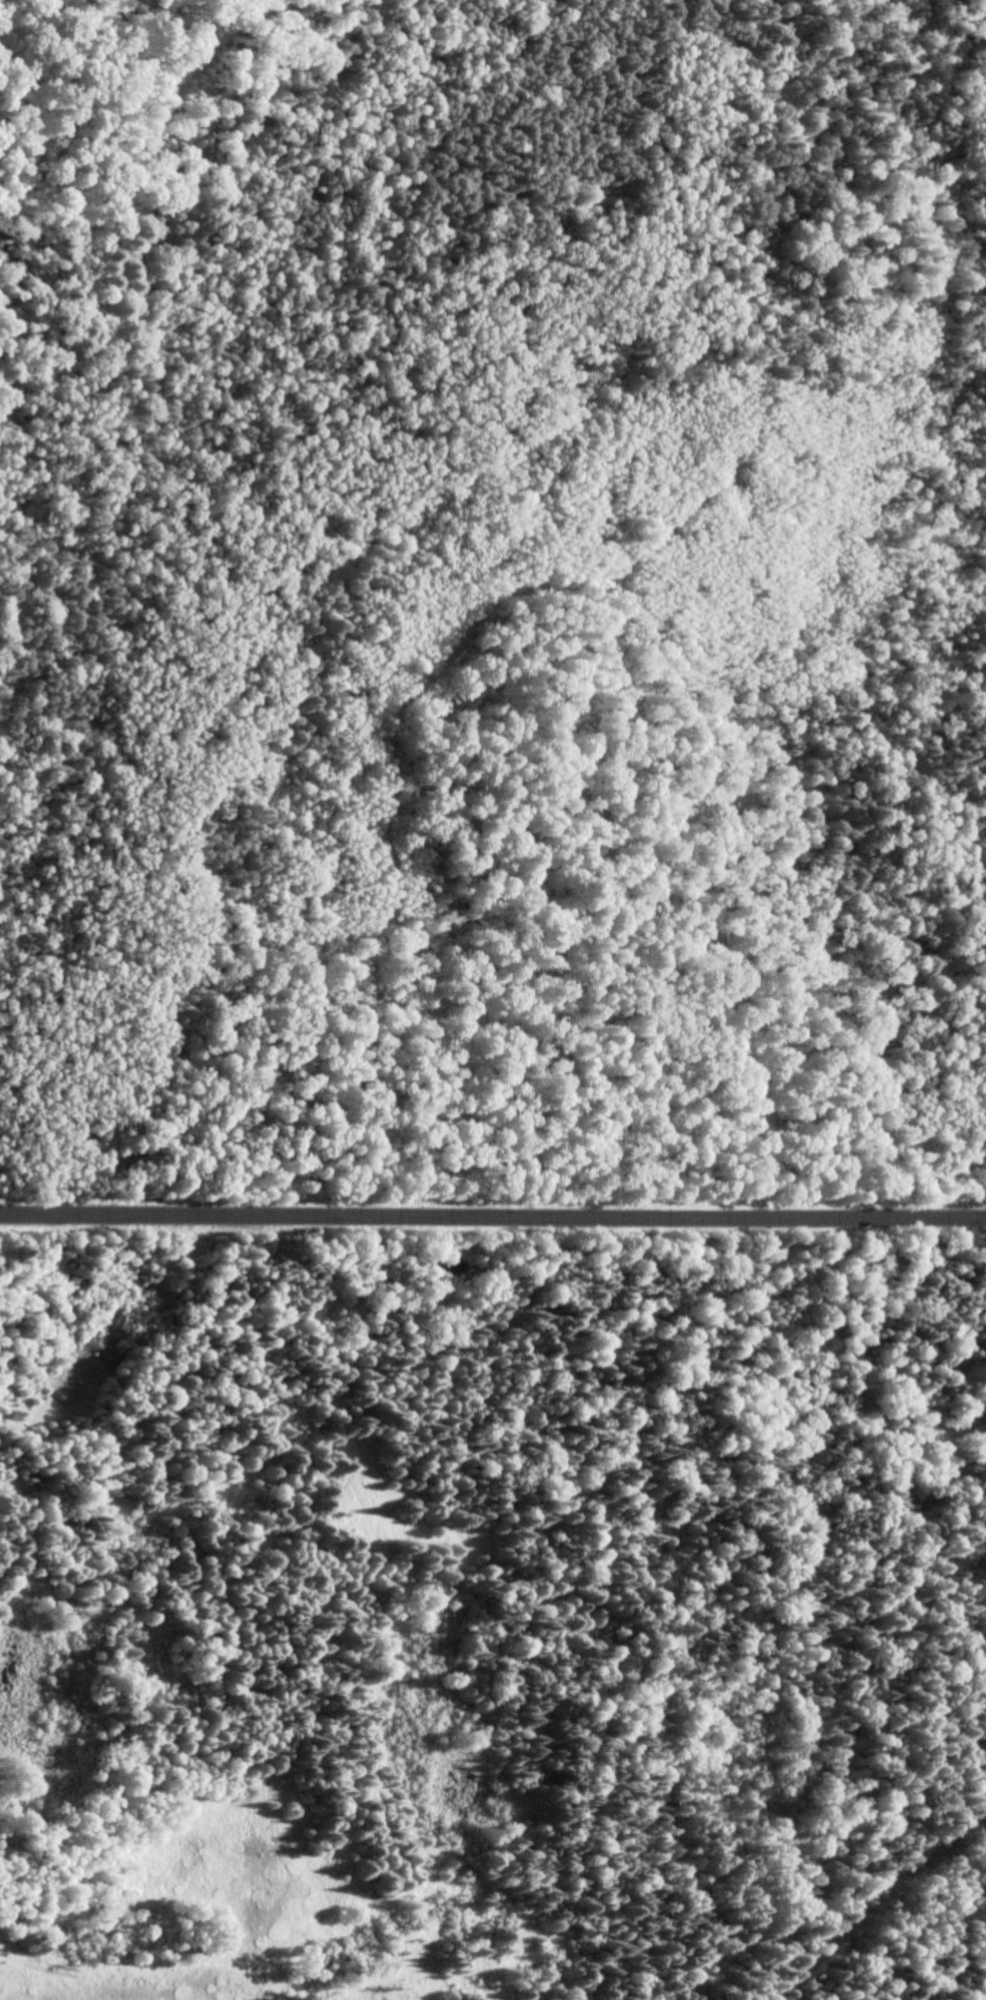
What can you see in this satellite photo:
road: (493, 1209)

